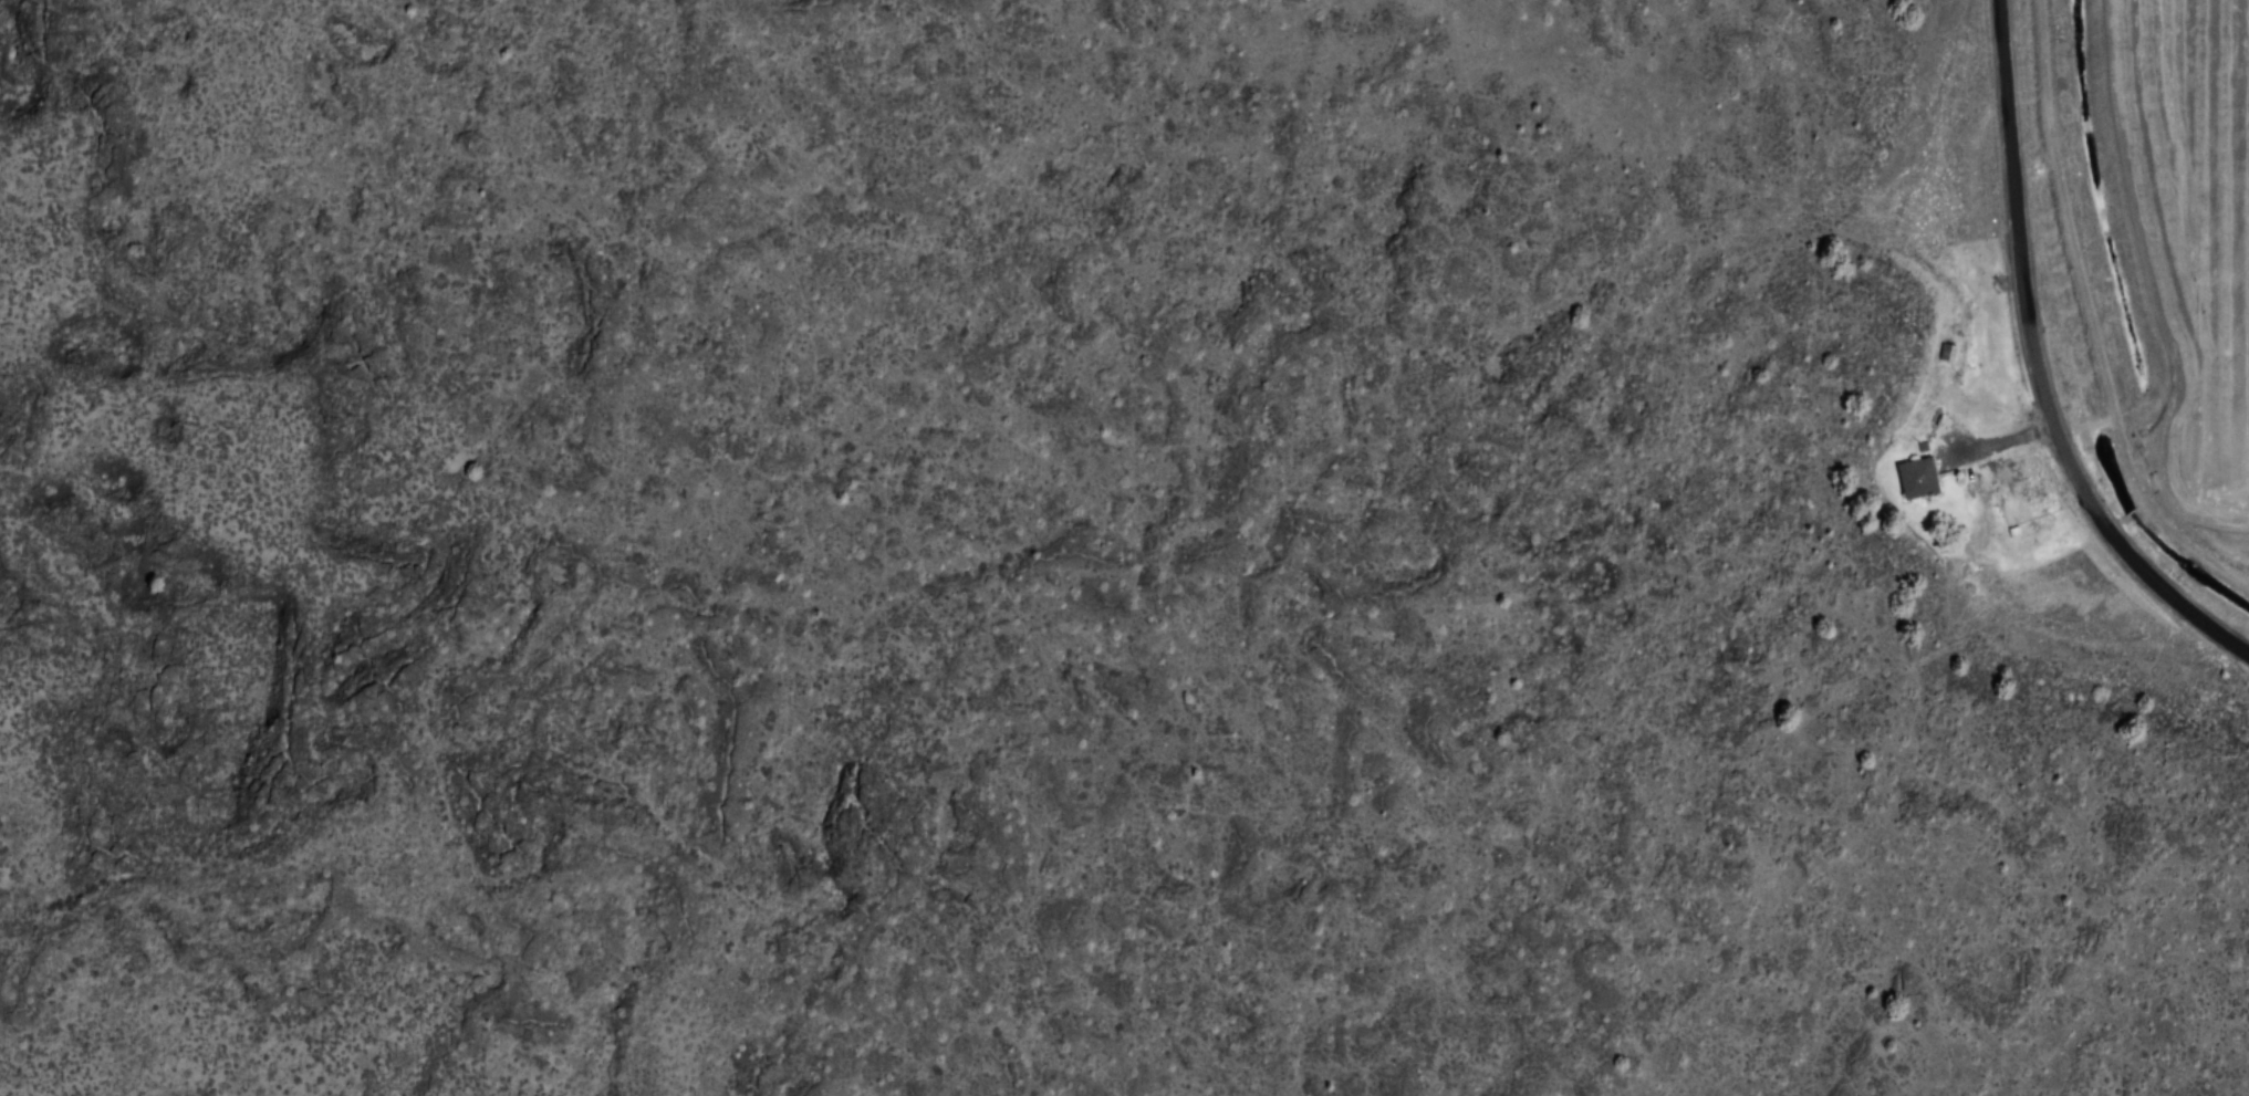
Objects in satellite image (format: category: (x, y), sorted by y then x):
crop: (2193, 230)
building: (1949, 349)
road: (2039, 365)
road: (2011, 436)
building: (1924, 476)

